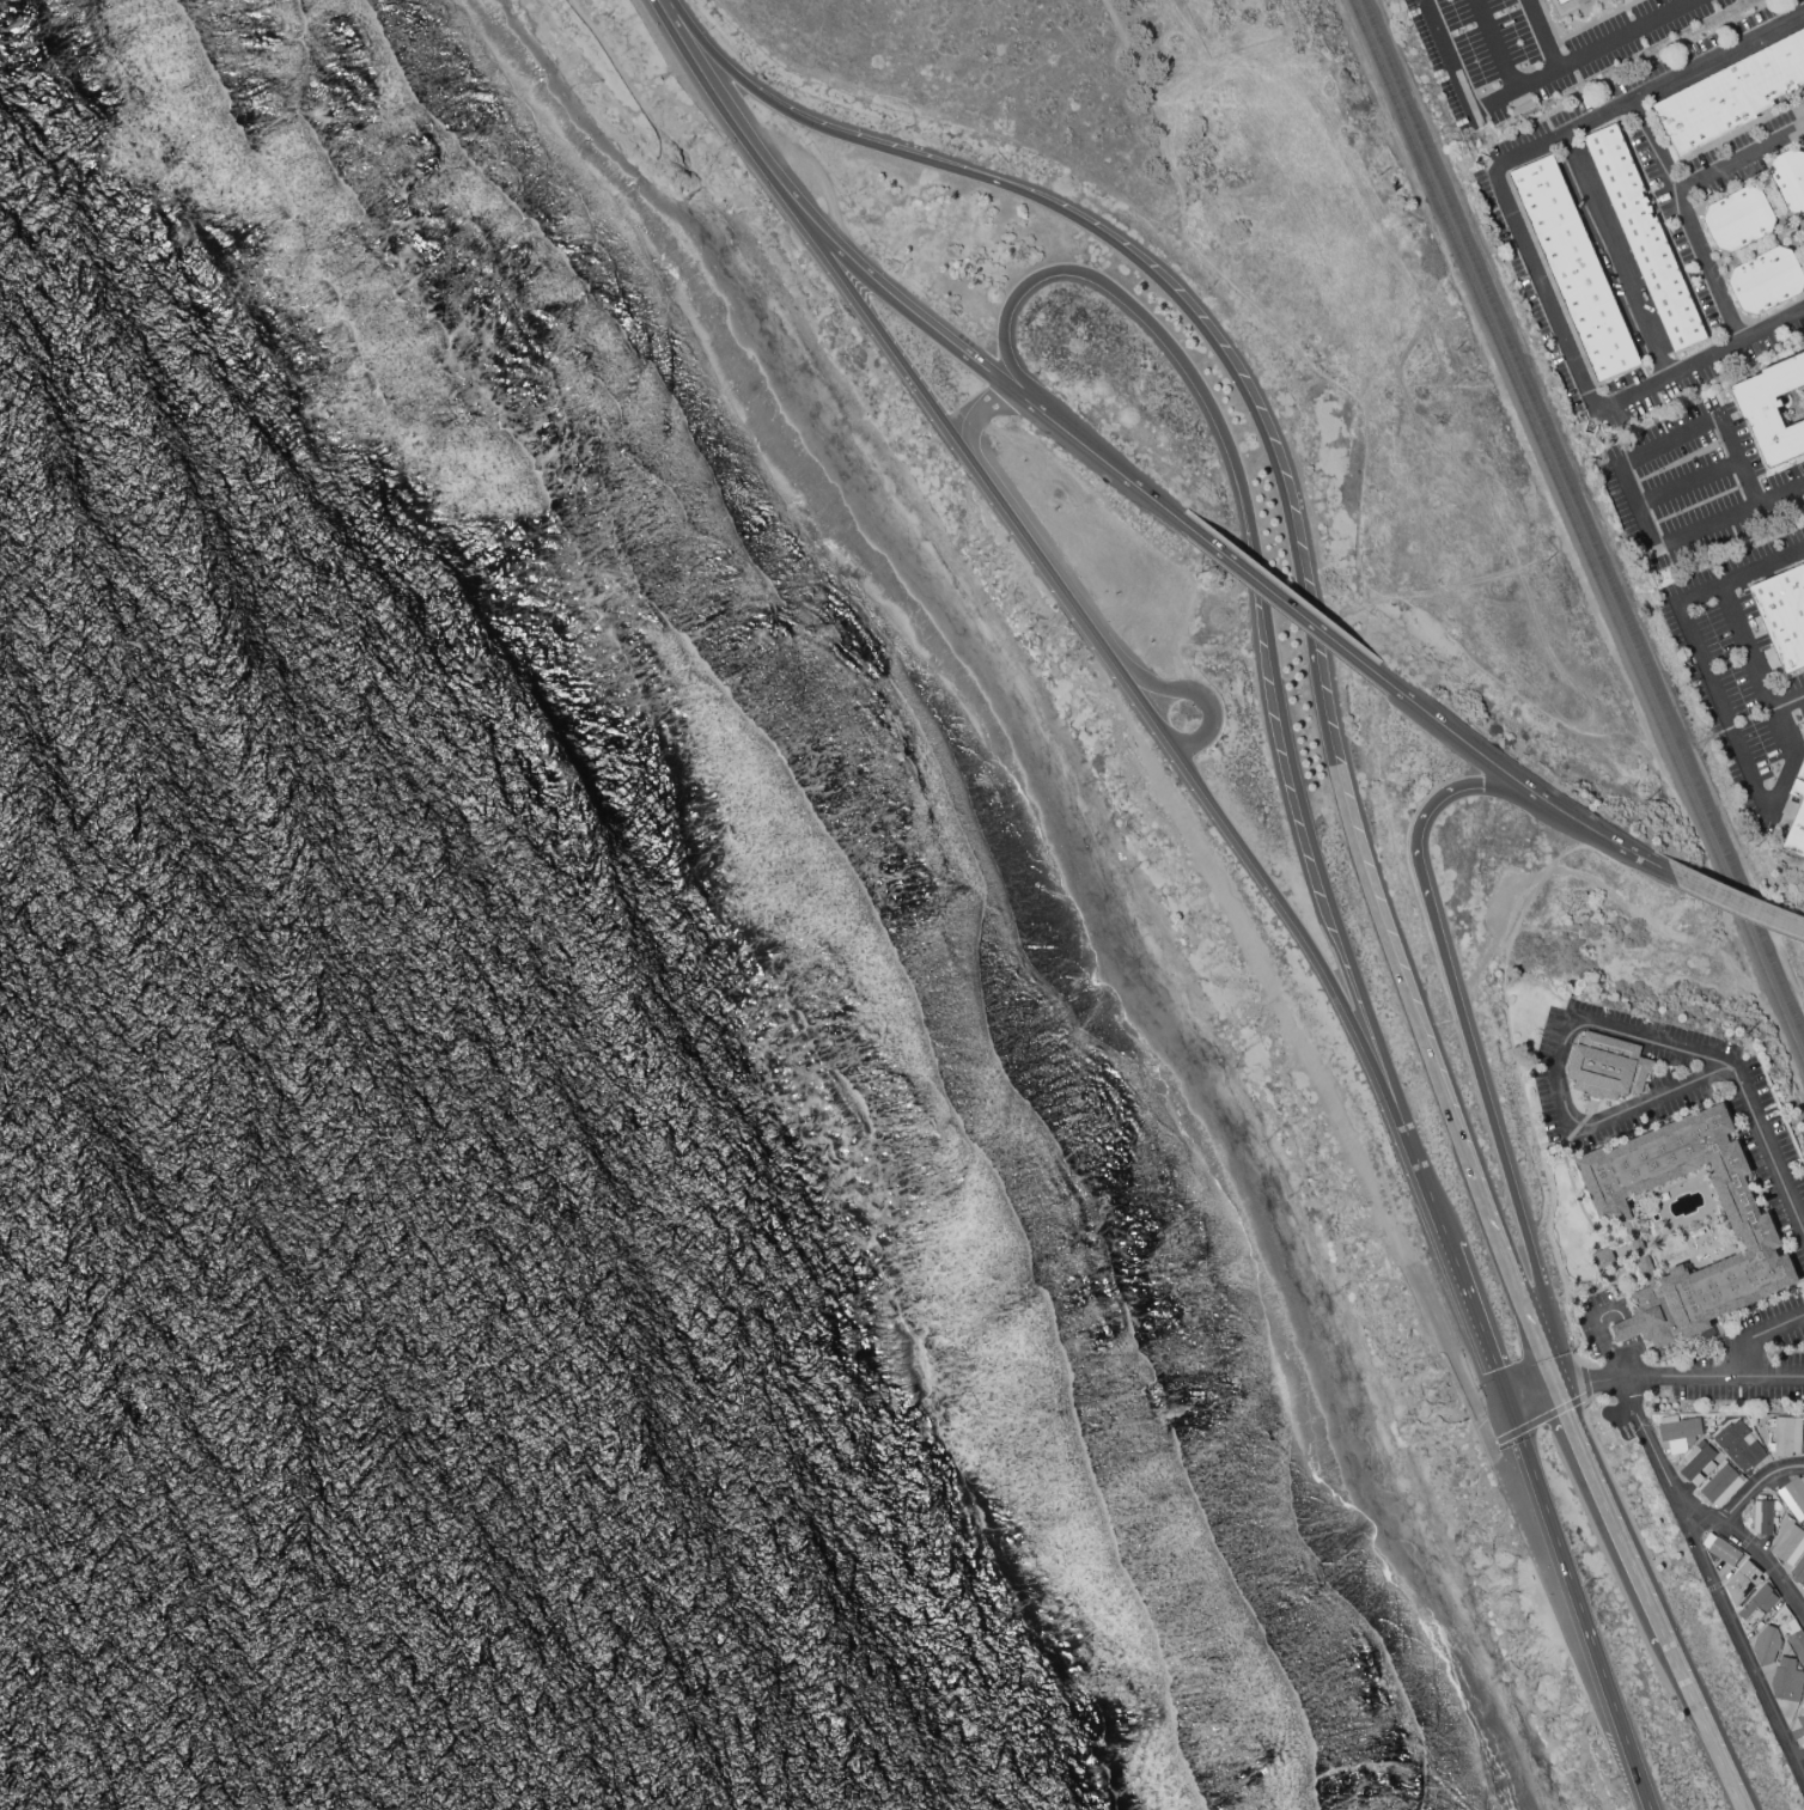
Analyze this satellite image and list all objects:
building: (1562, 1)
road: (1116, 31)
road: (1538, 35)
road: (1497, 44)
road: (711, 49)
road: (1718, 57)
road: (621, 66)
road: (1266, 75)
road: (1524, 85)
road: (709, 86)
building: (1732, 96)
road: (1566, 129)
road: (1020, 144)
road: (1658, 144)
road: (1742, 158)
building: (1790, 179)
building: (1739, 220)
road: (1186, 240)
building: (1646, 240)
road: (1617, 255)
road: (1707, 267)
building: (1576, 268)
building: (1767, 281)
road: (1543, 291)
road: (897, 298)
road: (1773, 325)
road: (882, 334)
road: (1672, 377)
building: (1773, 410)
road: (973, 431)
road: (1263, 439)
road: (1668, 439)
road: (1739, 459)
road: (1109, 467)
road: (1688, 483)
road: (1634, 506)
railway: (1584, 518)
road: (1729, 518)
railway: (1577, 532)
road: (1504, 549)
road: (1253, 551)
road: (1117, 555)
parking lot: (1104, 559)
road: (1054, 579)
road: (1276, 595)
building: (1784, 615)
road: (1749, 642)
road: (1099, 654)
road: (1128, 672)
road: (1103, 675)
road: (1737, 682)
road: (1072, 683)
road: (1166, 691)
road: (1791, 699)
road: (1714, 700)
road: (1142, 706)
road: (1207, 726)
road: (1514, 781)
building: (1797, 819)
road: (1544, 878)
road: (1736, 903)
road: (1281, 910)
road: (1676, 939)
road: (1463, 1023)
building: (1608, 1066)
road: (1312, 1067)
road: (1552, 1075)
parking lot: (1674, 1102)
road: (1452, 1132)
road: (1550, 1145)
road: (1768, 1150)
road: (1541, 1160)
road: (1414, 1162)
building: (1753, 1229)
building: (1603, 1259)
road: (1619, 1259)
road: (1514, 1288)
road: (1474, 1324)
parking lot: (1452, 1334)
road: (1753, 1336)
parking lot: (1690, 1360)
road: (1580, 1361)
road: (1549, 1369)
road: (1713, 1378)
traffic signals: (1554, 1379)
road: (1560, 1379)
road: (1587, 1381)
traffic signals: (1503, 1403)
road: (1621, 1414)
road: (1538, 1421)
parking lot: (1625, 1431)
building: (1678, 1432)
building: (1787, 1437)
building: (1802, 1444)
building: (1739, 1446)
building: (1698, 1463)
road: (1756, 1485)
building: (1720, 1486)
road: (1616, 1487)
building: (1793, 1498)
road: (1611, 1507)
road: (1694, 1511)
building: (1762, 1517)
building: (1787, 1542)
building: (1724, 1552)
building: (1798, 1570)
building: (1741, 1582)
building: (1756, 1604)
road: (1573, 1607)
building: (1781, 1617)
building: (1767, 1645)
road: (1739, 1647)
building: (1786, 1681)
road: (1708, 1723)
building: (1798, 1726)
building: (1803, 1760)

